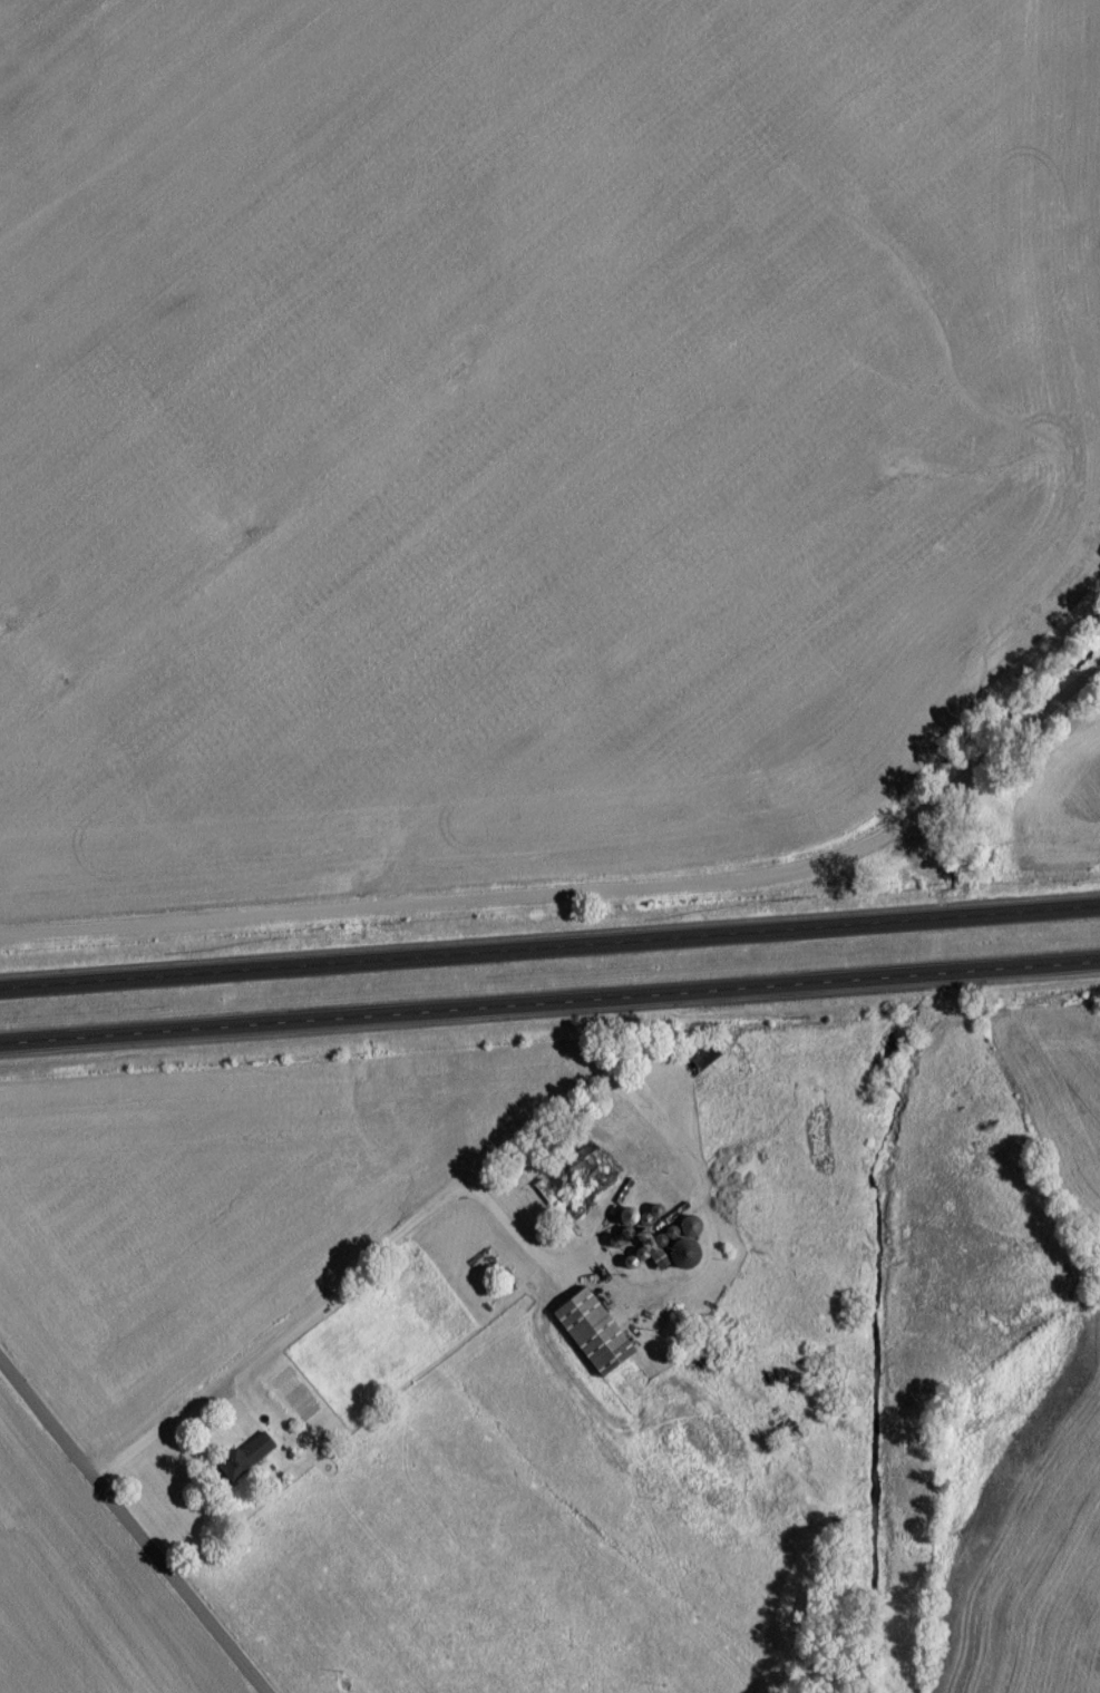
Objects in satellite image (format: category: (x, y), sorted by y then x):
road: (581, 898)
road: (549, 954)
road: (549, 1008)
building: (705, 1061)
road: (669, 1132)
road: (539, 1257)
road: (347, 1281)
building: (596, 1340)
building: (250, 1462)
road: (129, 1531)

